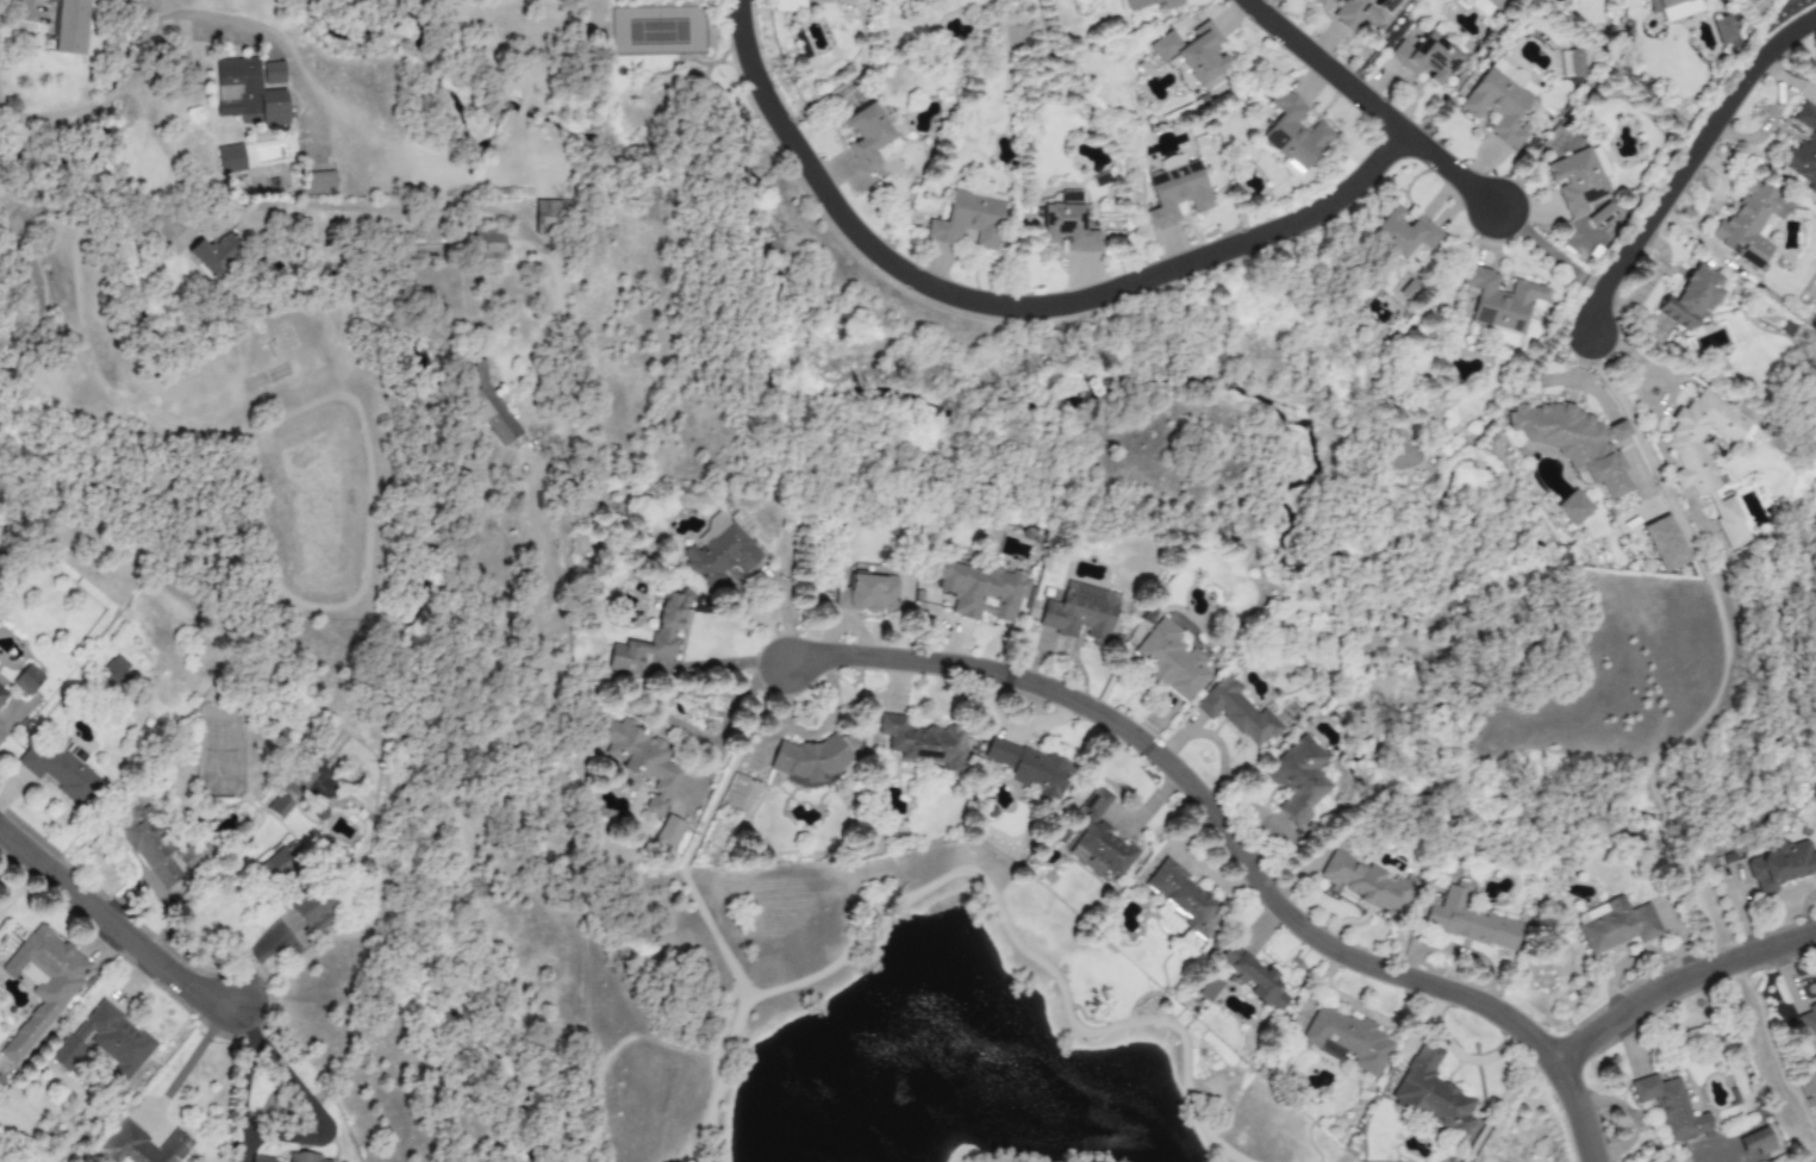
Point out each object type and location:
building: (1318, 1)
building: (1144, 5)
building: (787, 6)
building: (1479, 7)
building: (1673, 7)
building: (1347, 13)
building: (1369, 14)
road: (177, 17)
building: (70, 27)
building: (1722, 30)
building: (1192, 51)
building: (1424, 57)
building: (1571, 63)
building: (272, 73)
road: (111, 95)
building: (244, 95)
building: (1500, 101)
road: (1371, 106)
road: (49, 115)
building: (866, 135)
building: (1293, 135)
building: (1804, 148)
building: (230, 160)
road: (1686, 163)
building: (1575, 181)
building: (318, 182)
building: (1175, 194)
road: (389, 207)
building: (968, 217)
building: (544, 218)
building: (1067, 223)
building: (1749, 223)
building: (1402, 233)
building: (487, 251)
building: (214, 254)
road: (32, 298)
building: (1689, 299)
building: (1500, 300)
road: (1009, 302)
road: (1646, 380)
building: (483, 401)
road: (1654, 432)
building: (1574, 442)
building: (1706, 457)
building: (1573, 507)
building: (1665, 543)
building: (717, 551)
building: (980, 591)
building: (867, 593)
building: (1080, 612)
building: (650, 637)
building: (1172, 661)
road: (726, 663)
building: (114, 671)
building: (27, 680)
building: (2, 695)
building: (1236, 711)
building: (918, 741)
building: (642, 760)
building: (811, 760)
building: (1030, 769)
building: (1298, 780)
building: (279, 806)
building: (667, 832)
building: (1098, 838)
road: (1235, 842)
building: (148, 845)
building: (1781, 864)
building: (1367, 883)
building: (1182, 898)
road: (893, 904)
building: (313, 911)
building: (1469, 920)
building: (1615, 924)
road: (126, 932)
road: (252, 960)
building: (1254, 977)
building: (42, 983)
road: (1677, 983)
building: (1209, 988)
building: (1806, 1026)
building: (1347, 1041)
building: (105, 1042)
road: (186, 1063)
road: (717, 1076)
building: (1430, 1093)
road: (1502, 1102)
building: (1671, 1107)
road: (289, 1137)
building: (1759, 1143)
building: (142, 1145)
building: (295, 1158)

